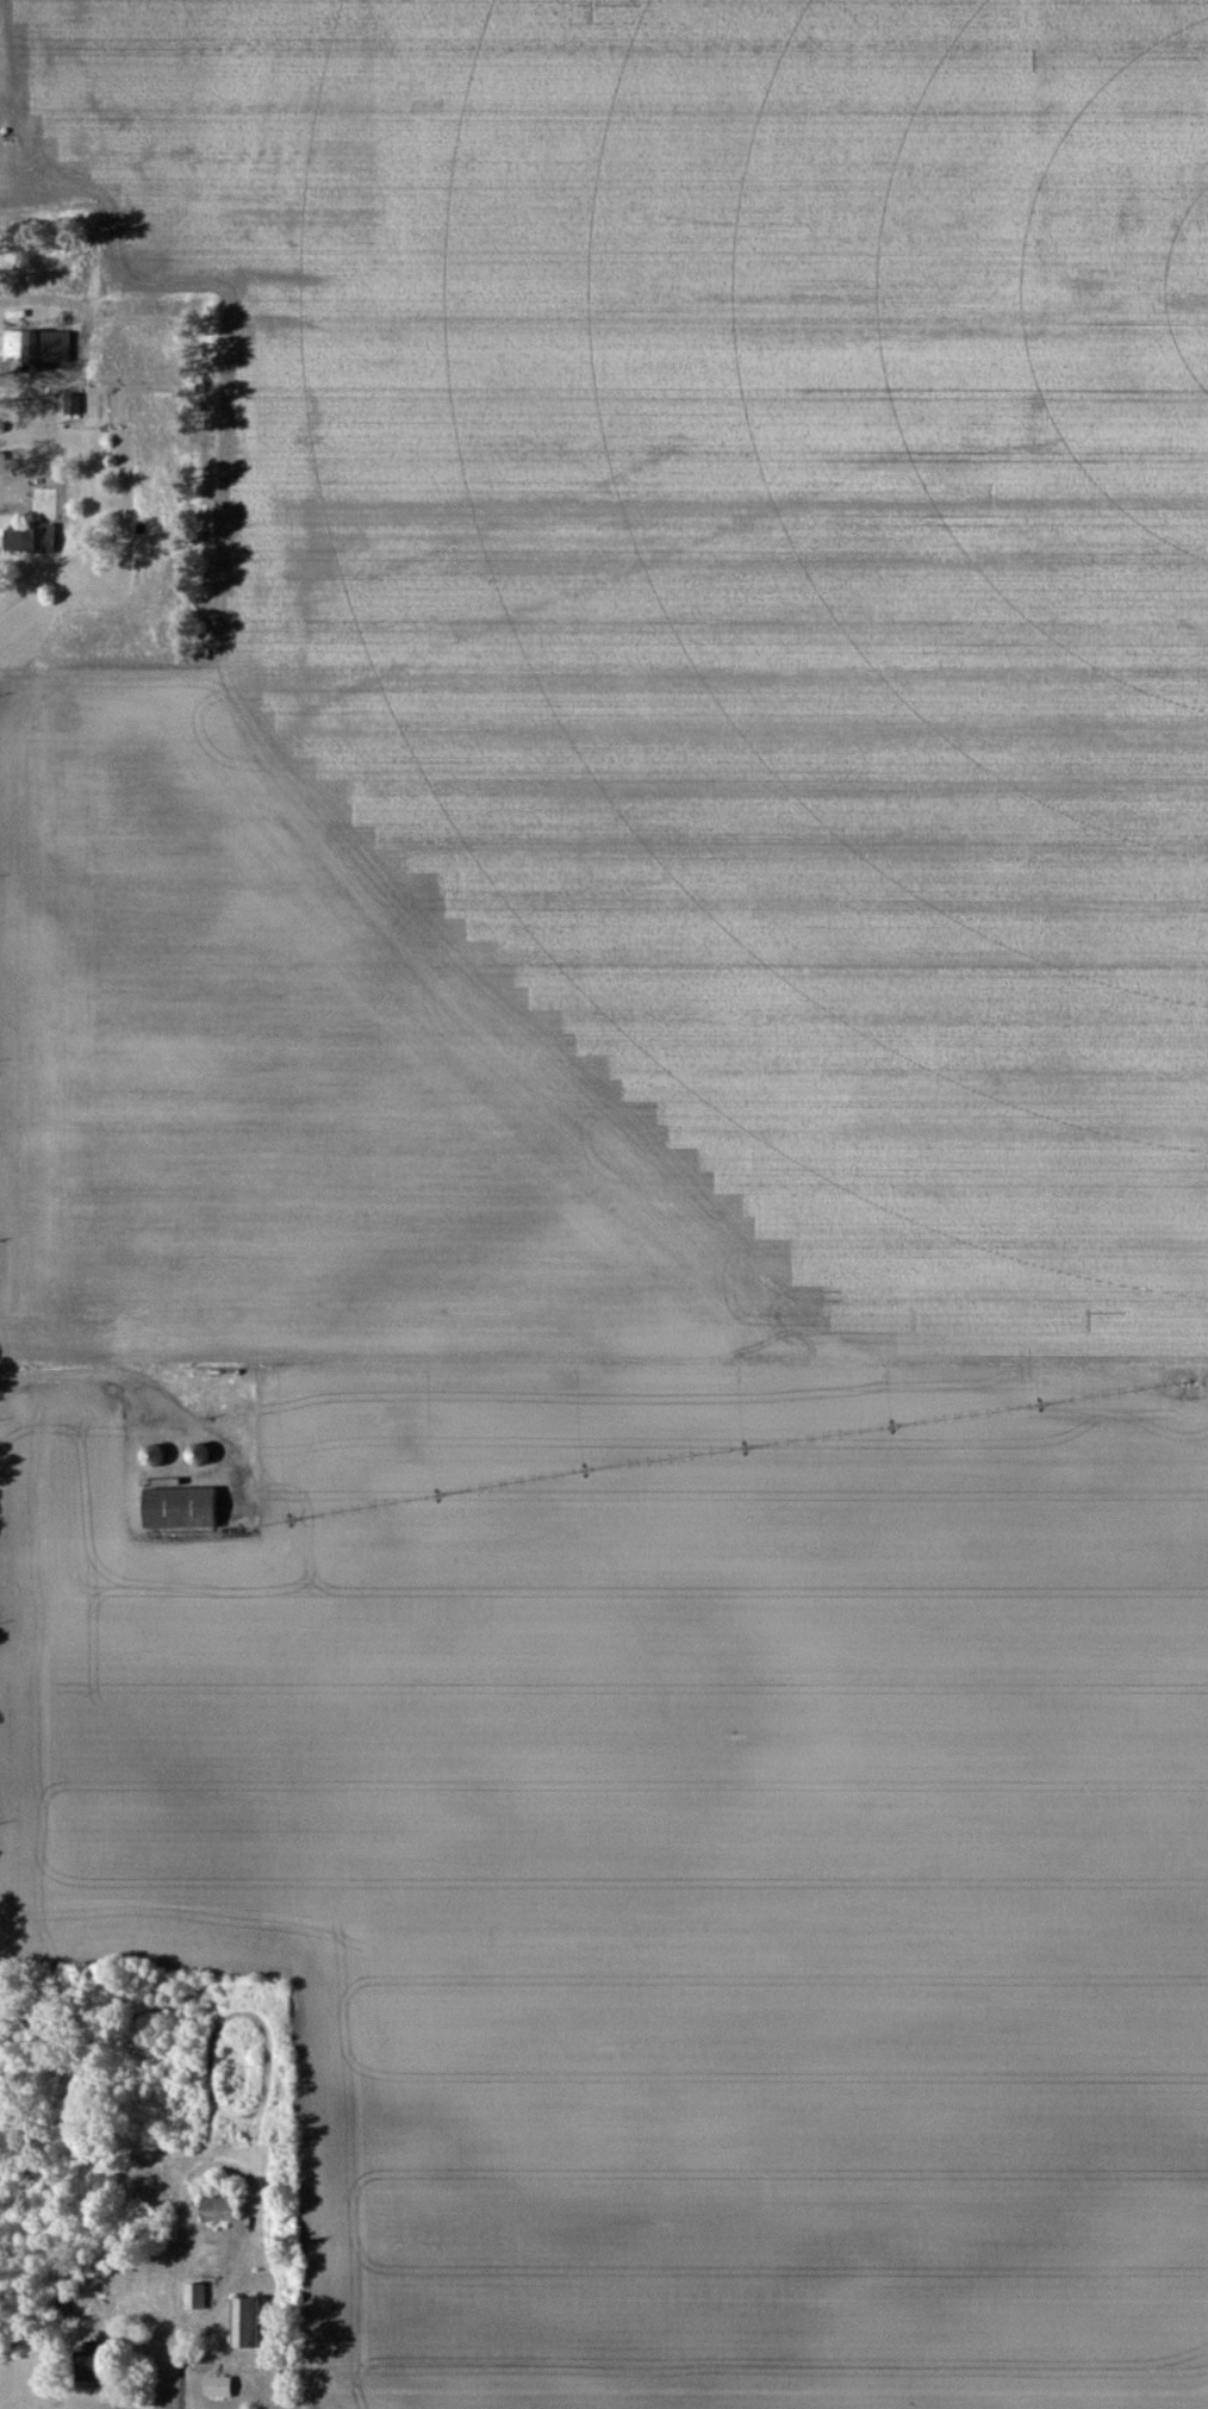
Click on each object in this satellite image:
building: (17, 344)
building: (61, 346)
road: (66, 527)
building: (31, 540)
building: (204, 1452)
building: (157, 1454)
building: (188, 1506)
building: (220, 2203)
building: (195, 2296)
building: (248, 2322)
building: (220, 2386)

